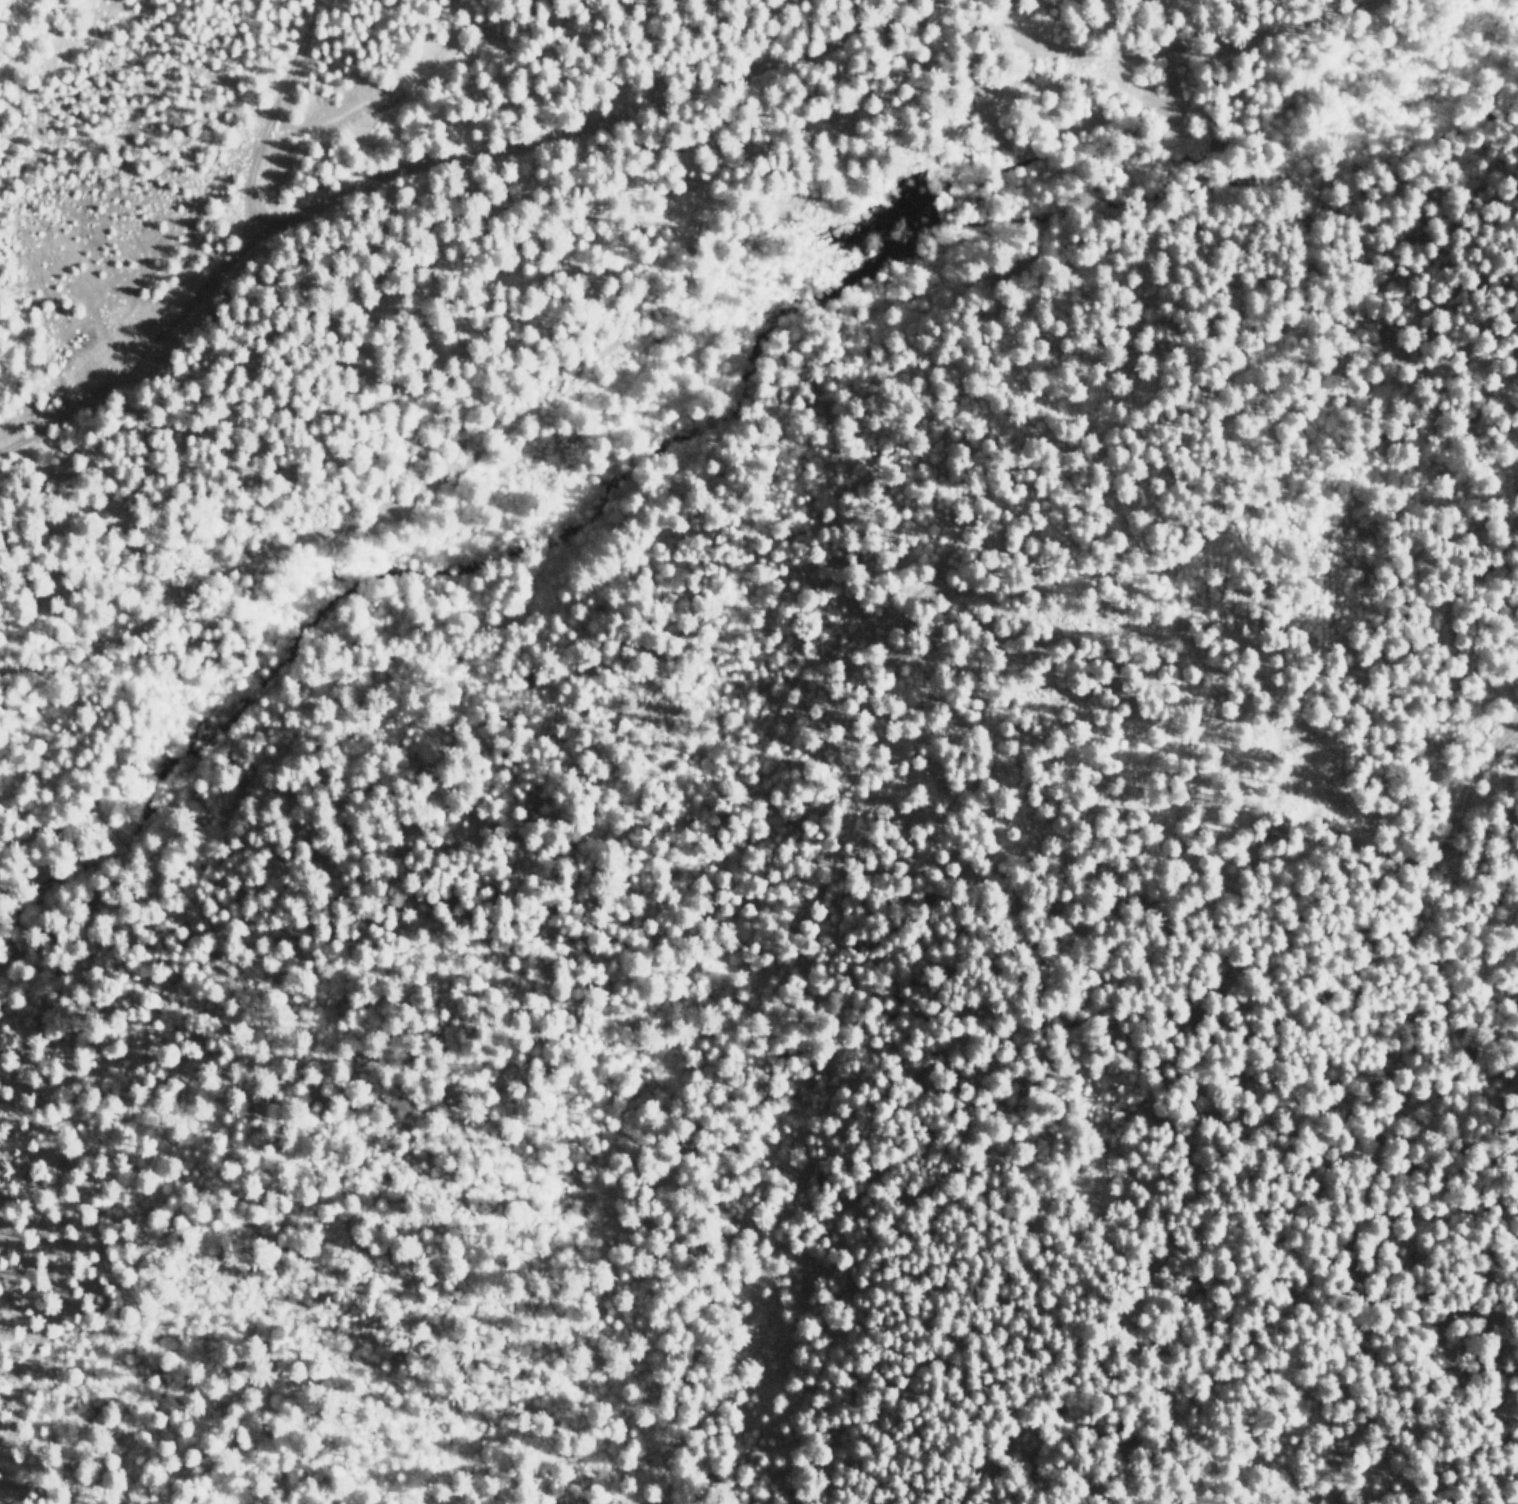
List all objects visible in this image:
road: (271, 113)
road: (582, 121)

